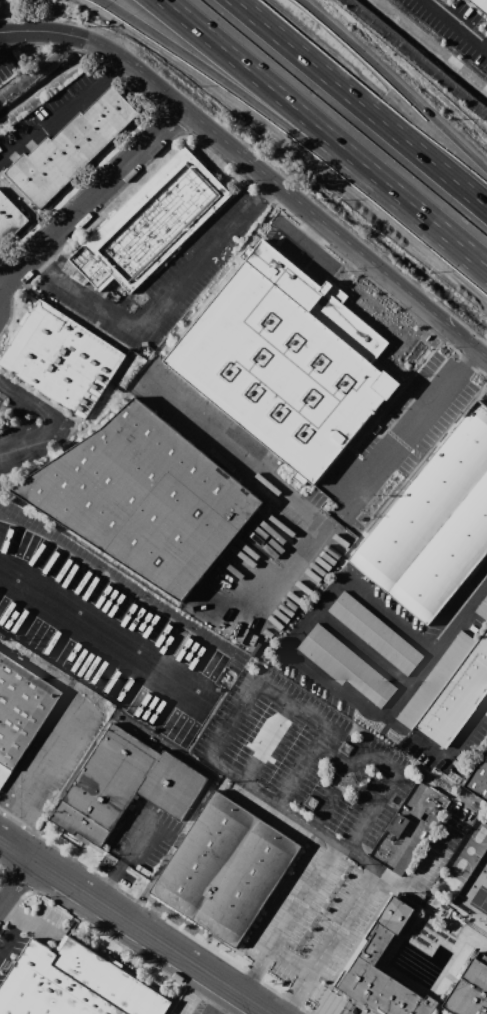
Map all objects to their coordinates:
building: (481, 4)
street lamp: (77, 9)
road: (456, 24)
parking lot: (453, 27)
road: (66, 33)
road: (4, 52)
street lamp: (163, 66)
road: (116, 68)
road: (388, 79)
road: (362, 103)
road: (53, 117)
road: (141, 126)
road: (324, 133)
road: (292, 139)
building: (72, 145)
road: (213, 161)
road: (228, 164)
road: (481, 168)
road: (226, 172)
road: (268, 188)
road: (91, 198)
street lamp: (338, 204)
road: (306, 209)
building: (10, 218)
building: (151, 223)
road: (309, 229)
road: (290, 231)
road: (317, 253)
road: (36, 265)
street lamp: (430, 271)
road: (165, 302)
road: (471, 356)
building: (69, 358)
building: (285, 362)
road: (393, 367)
road: (389, 373)
road: (393, 395)
road: (26, 398)
road: (461, 414)
road: (395, 437)
road: (34, 441)
road: (243, 452)
building: (146, 500)
road: (341, 514)
building: (434, 524)
road: (281, 542)
road: (485, 555)
building: (484, 607)
road: (462, 615)
road: (100, 628)
building: (376, 634)
road: (288, 645)
building: (345, 666)
road: (214, 671)
building: (450, 691)
road: (85, 703)
building: (21, 706)
road: (325, 738)
road: (267, 743)
power tower: (349, 750)
road: (451, 750)
road: (301, 770)
road: (225, 771)
building: (479, 782)
power tower: (345, 783)
building: (126, 784)
road: (277, 804)
power tower: (314, 804)
road: (323, 811)
road: (1, 815)
road: (15, 834)
road: (138, 840)
road: (427, 854)
road: (359, 857)
road: (48, 869)
building: (229, 871)
road: (109, 882)
road: (17, 883)
park: (475, 892)
road: (125, 894)
road: (304, 895)
road: (13, 911)
road: (343, 921)
road: (42, 927)
road: (11, 935)
road: (182, 957)
road: (290, 960)
road: (255, 971)
building: (382, 972)
building: (74, 984)
building: (470, 990)
road: (297, 993)
road: (281, 994)
parking lot: (442, 1011)

